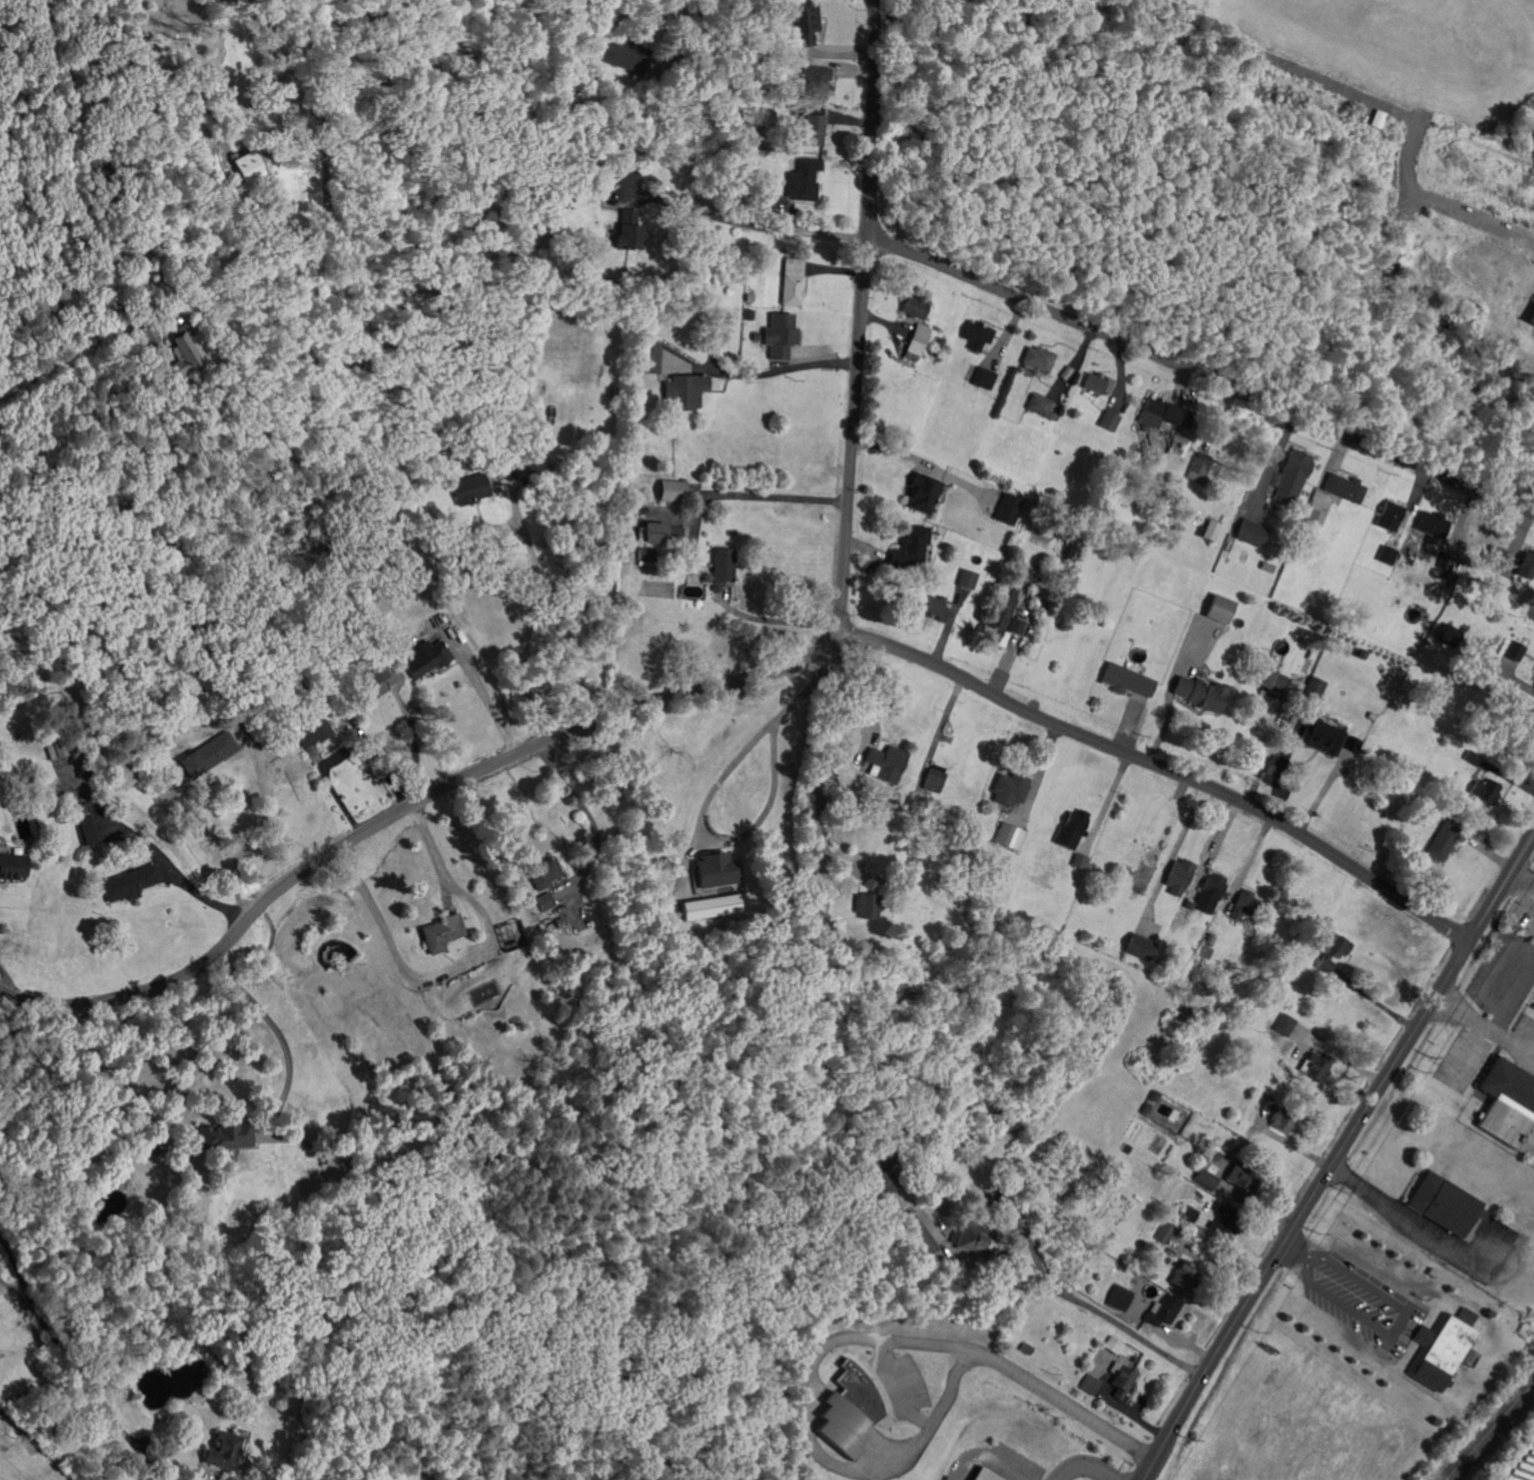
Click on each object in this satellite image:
building: (806, 25)
road: (686, 32)
building: (630, 57)
building: (77, 68)
building: (820, 82)
road: (1377, 103)
building: (226, 112)
building: (1377, 118)
building: (814, 125)
building: (223, 132)
building: (778, 154)
building: (765, 155)
building: (98, 167)
building: (252, 167)
building: (804, 179)
road: (221, 186)
building: (566, 199)
building: (764, 201)
road: (711, 214)
building: (562, 217)
road: (1475, 218)
building: (632, 230)
building: (795, 281)
building: (917, 307)
road: (863, 314)
building: (1531, 316)
building: (149, 335)
building: (782, 336)
building: (978, 336)
building: (921, 339)
building: (186, 353)
building: (651, 358)
building: (1041, 359)
road: (784, 368)
road: (1201, 373)
building: (985, 378)
building: (1098, 385)
building: (686, 392)
building: (1042, 405)
building: (1163, 415)
building: (1110, 422)
building: (540, 469)
building: (1200, 469)
building: (1126, 470)
building: (1293, 476)
building: (1346, 487)
building: (472, 489)
building: (674, 492)
building: (924, 494)
road: (768, 495)
building: (1183, 502)
building: (1009, 510)
building: (1314, 516)
building: (1391, 516)
building: (1434, 524)
building: (1212, 531)
building: (1251, 533)
building: (660, 534)
building: (912, 548)
building: (1387, 556)
building: (648, 557)
building: (1495, 559)
building: (1449, 561)
building: (1527, 566)
building: (724, 568)
building: (969, 578)
building: (355, 592)
building: (937, 607)
building: (1220, 609)
road: (529, 617)
building: (1001, 619)
road: (785, 620)
building: (199, 626)
building: (1018, 627)
building: (1384, 631)
building: (1452, 635)
building: (1517, 651)
building: (333, 658)
building: (429, 660)
building: (1127, 680)
building: (1271, 680)
building: (375, 685)
building: (3, 687)
road: (868, 687)
building: (1293, 688)
building: (1315, 689)
building: (1202, 695)
road: (485, 697)
road: (938, 726)
building: (312, 732)
building: (1323, 736)
building: (1352, 743)
road: (415, 745)
building: (61, 748)
road: (1272, 750)
road: (343, 751)
building: (208, 755)
building: (1474, 758)
road: (824, 761)
building: (889, 763)
road: (1165, 766)
road: (1038, 771)
building: (936, 779)
building: (1429, 779)
building: (1405, 784)
building: (1011, 789)
building: (1490, 792)
road: (1107, 797)
building: (915, 803)
road: (706, 805)
building: (81, 808)
road: (408, 809)
road: (585, 811)
building: (1078, 823)
building: (89, 830)
building: (1013, 837)
road: (251, 840)
building: (1445, 841)
road: (153, 848)
road: (1170, 852)
building: (1082, 861)
building: (13, 866)
building: (718, 871)
building: (546, 875)
building: (1180, 877)
building: (876, 882)
building: (132, 883)
building: (1215, 888)
building: (544, 902)
building: (1248, 903)
building: (1191, 904)
building: (867, 905)
building: (713, 908)
building: (550, 916)
building: (1222, 918)
building: (864, 921)
building: (561, 923)
building: (445, 932)
building: (1139, 947)
building: (1334, 950)
road: (460, 960)
building: (1235, 972)
road: (9, 977)
building: (1280, 1011)
road: (269, 1021)
building: (1287, 1025)
road: (1486, 1025)
road: (16, 1028)
building: (879, 1065)
building: (1317, 1066)
building: (1154, 1097)
building: (1508, 1102)
building: (1145, 1109)
building: (1284, 1119)
building: (227, 1137)
building: (1125, 1146)
building: (153, 1152)
building: (340, 1158)
road: (1335, 1158)
building: (1245, 1178)
building: (1206, 1179)
building: (883, 1184)
building: (1100, 1184)
building: (854, 1188)
building: (1446, 1205)
building: (1190, 1215)
building: (1227, 1221)
road: (1409, 1221)
building: (916, 1234)
building: (1166, 1234)
building: (973, 1240)
road: (1296, 1249)
building: (1434, 1275)
building: (1186, 1276)
building: (1141, 1284)
building: (1119, 1296)
road: (1090, 1304)
building: (1163, 1311)
road: (1398, 1326)
road: (56, 1338)
building: (1112, 1345)
building: (1027, 1349)
building: (1447, 1351)
road: (986, 1356)
building: (1123, 1380)
building: (1091, 1385)
road: (901, 1388)
building: (850, 1411)
road: (939, 1417)
railway: (1492, 1433)
building: (223, 1451)
road: (989, 1455)
road: (1083, 1465)
parking lot: (1522, 1467)
building: (290, 1475)
building: (982, 1475)

